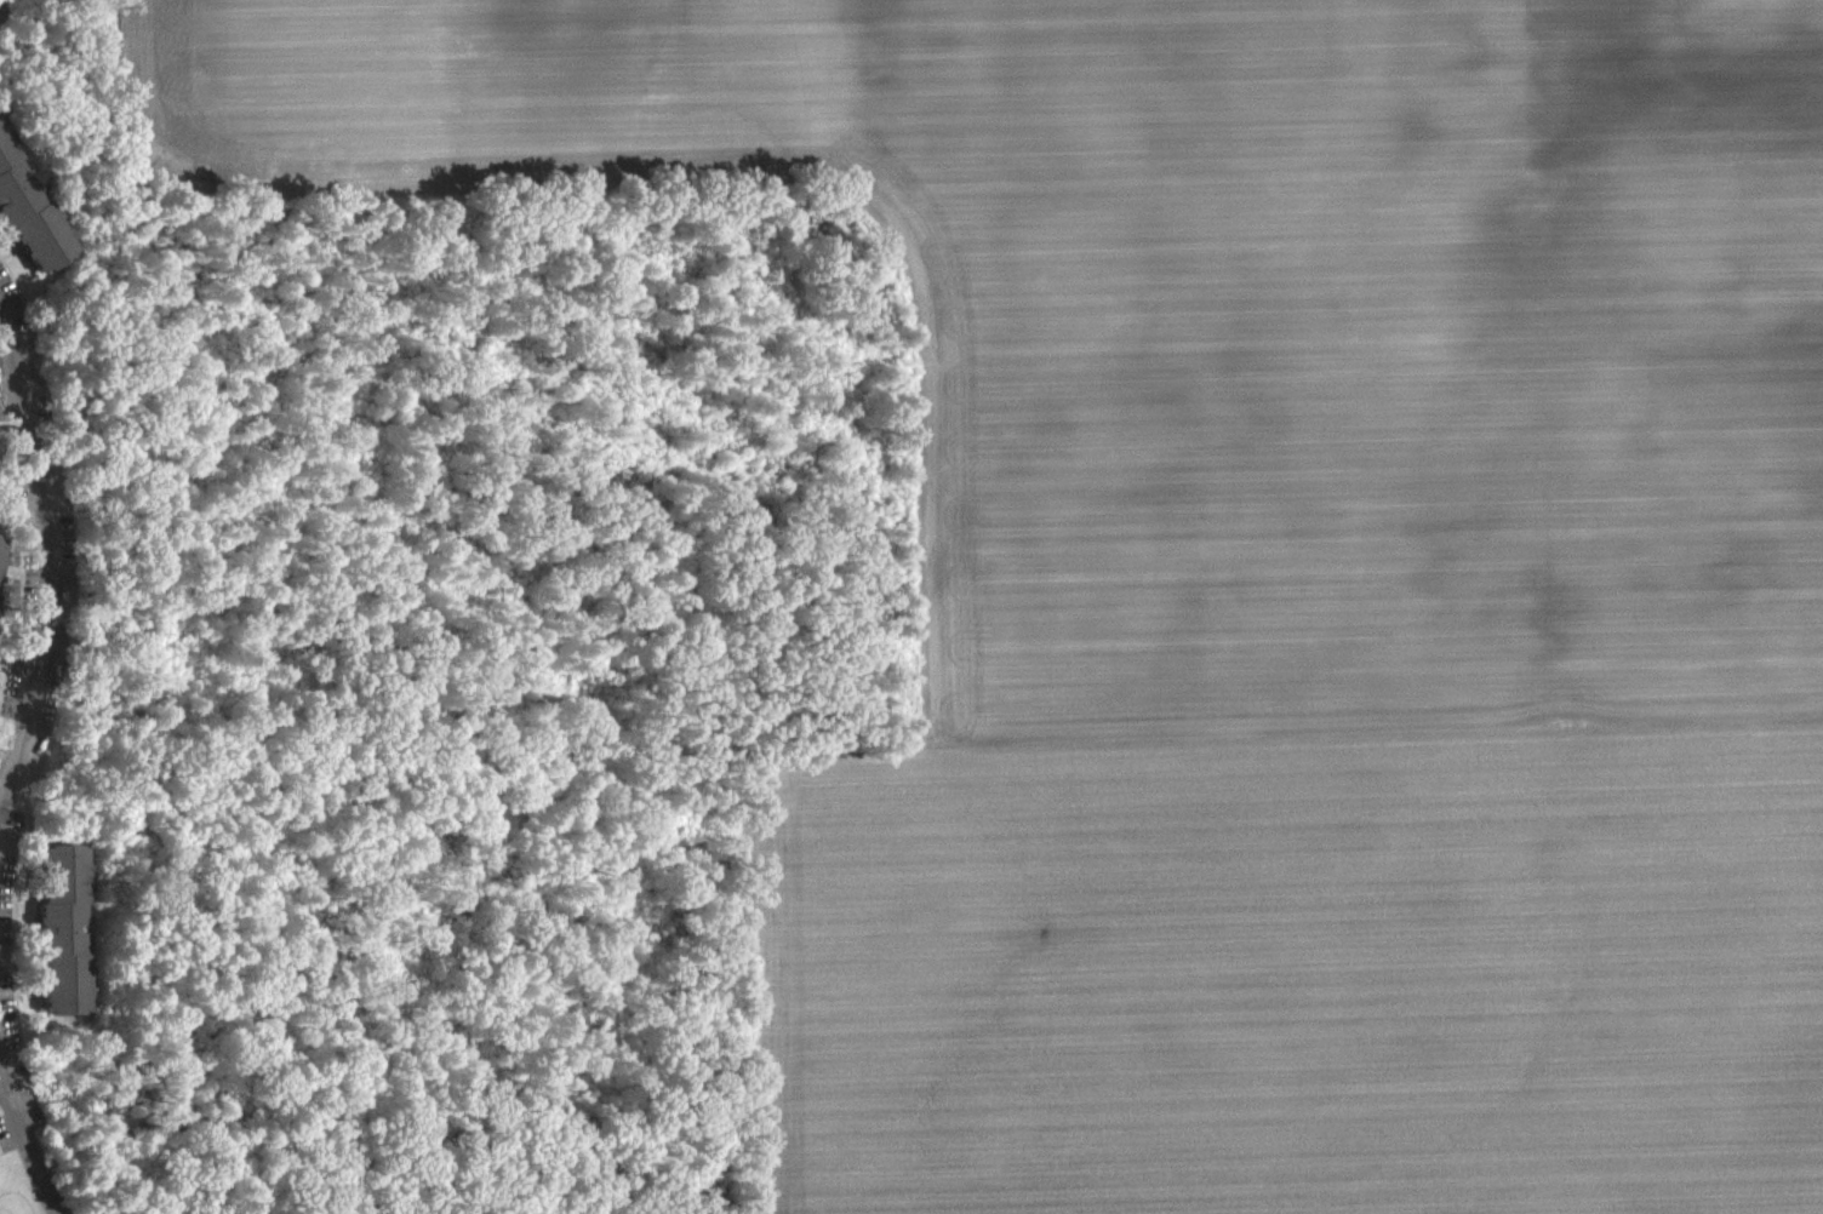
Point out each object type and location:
road: (0, 1)
building: (23, 225)
building: (0, 554)
road: (48, 563)
building: (58, 943)
road: (29, 1151)

